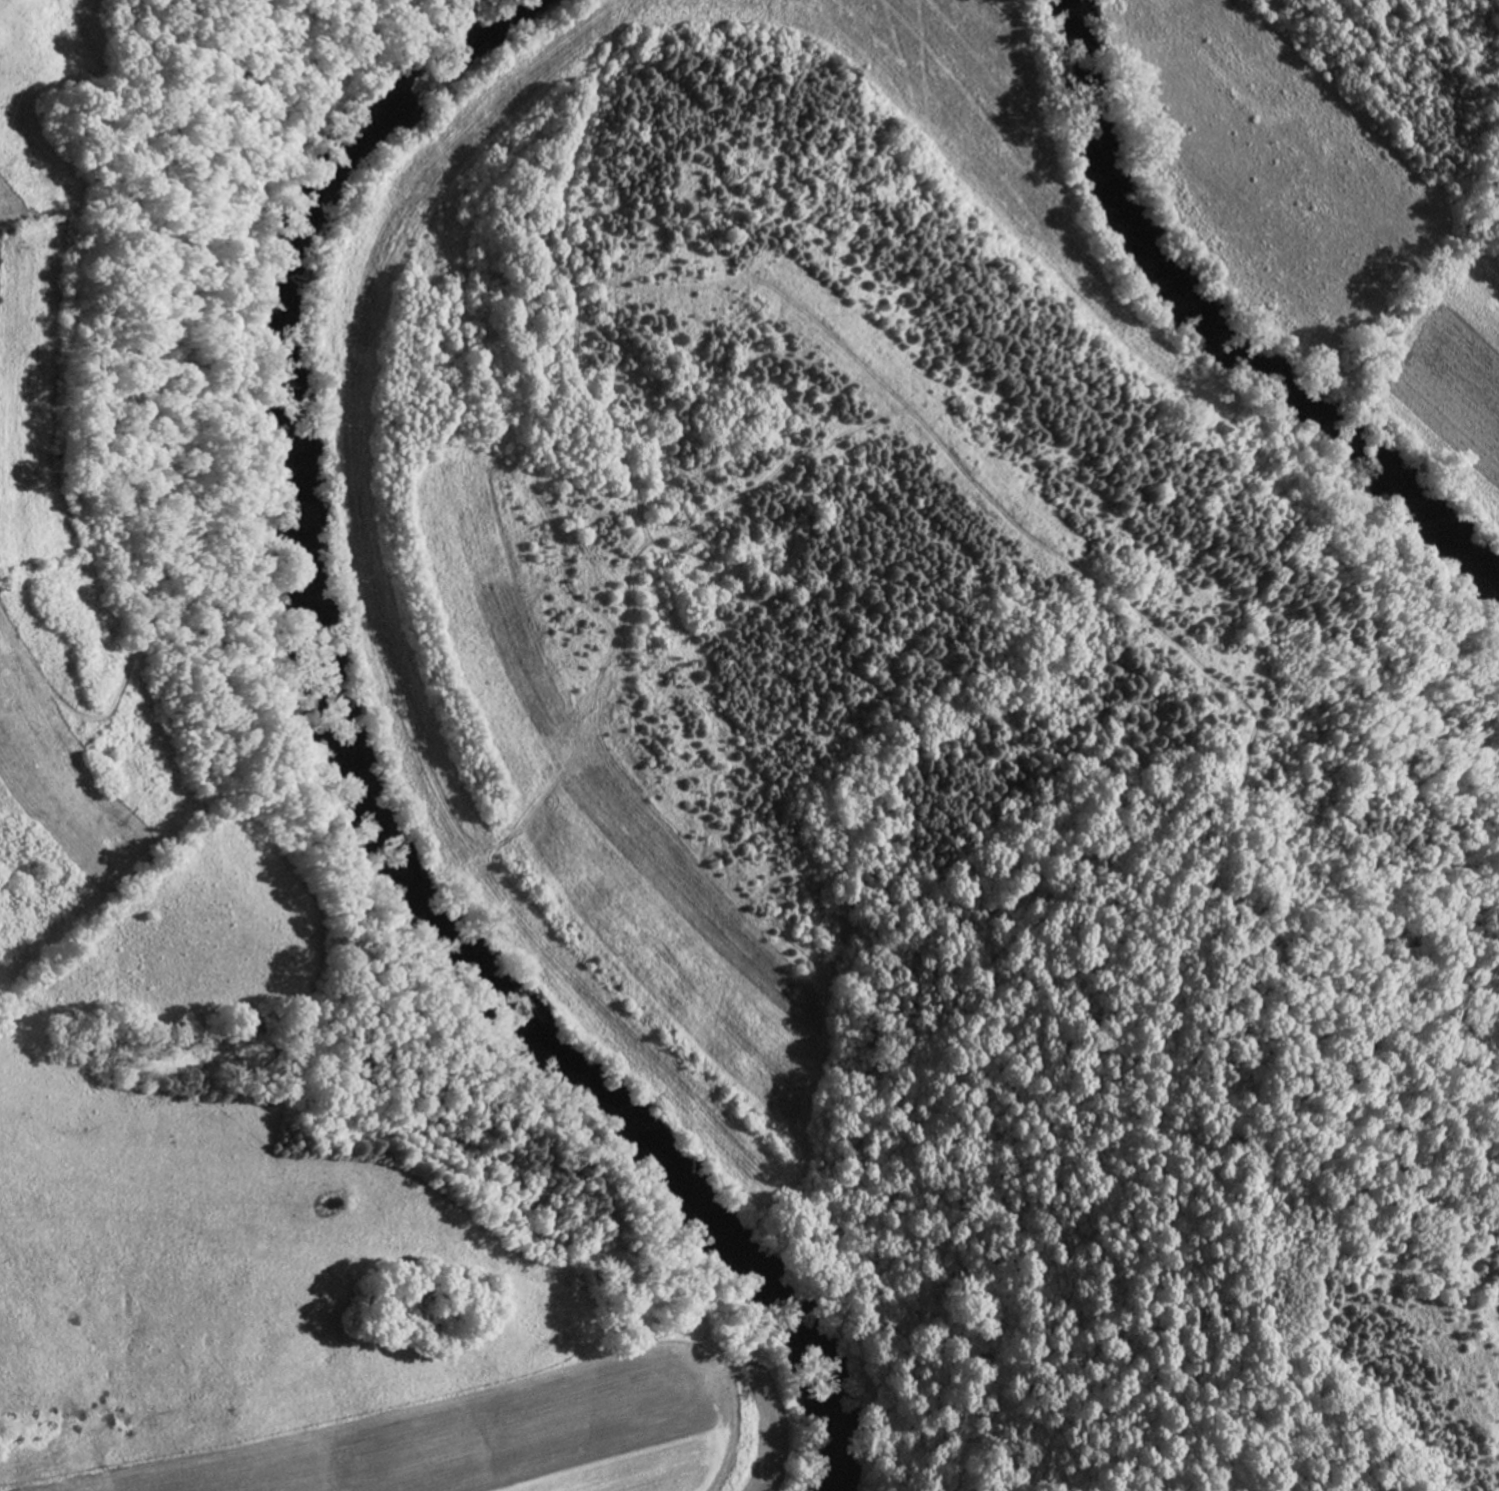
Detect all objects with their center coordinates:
river: (1217, 331)
building: (5, 343)
river: (365, 760)
road: (1214, 898)

